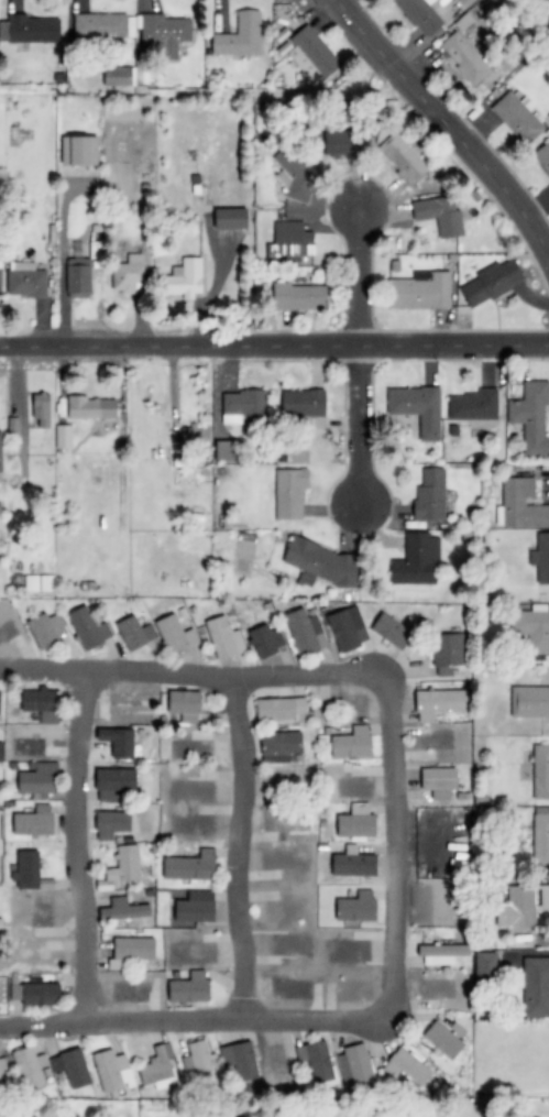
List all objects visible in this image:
road: (539, 10)
building: (420, 15)
building: (30, 29)
building: (132, 30)
building: (240, 35)
building: (316, 51)
building: (463, 57)
building: (127, 75)
building: (515, 117)
road: (444, 124)
building: (348, 142)
building: (80, 151)
building: (403, 158)
building: (296, 172)
building: (440, 215)
building: (232, 219)
building: (290, 242)
building: (128, 274)
building: (187, 277)
building: (78, 278)
building: (25, 281)
building: (494, 282)
building: (420, 291)
building: (297, 296)
road: (274, 347)
road: (359, 359)
building: (306, 405)
building: (472, 405)
building: (243, 407)
building: (91, 408)
building: (417, 408)
building: (43, 410)
building: (530, 416)
building: (188, 434)
building: (63, 436)
building: (224, 450)
building: (0, 452)
building: (290, 493)
building: (430, 495)
building: (521, 504)
building: (541, 558)
building: (416, 560)
building: (322, 562)
building: (532, 627)
building: (88, 628)
building: (348, 628)
building: (47, 629)
building: (392, 631)
building: (304, 632)
building: (135, 633)
building: (174, 634)
building: (224, 638)
building: (266, 640)
building: (447, 654)
building: (0, 701)
building: (530, 702)
building: (440, 703)
building: (41, 704)
building: (187, 705)
building: (279, 709)
building: (119, 742)
building: (352, 743)
building: (281, 745)
building: (541, 771)
building: (440, 778)
building: (36, 779)
building: (113, 784)
building: (35, 821)
building: (358, 823)
building: (112, 824)
building: (540, 836)
road: (78, 847)
road: (238, 847)
road: (395, 851)
building: (124, 864)
building: (354, 865)
building: (191, 867)
building: (28, 869)
building: (543, 898)
building: (195, 907)
building: (356, 907)
building: (518, 908)
building: (124, 909)
building: (131, 951)
building: (441, 954)
building: (486, 965)
building: (532, 987)
building: (189, 988)
building: (443, 1040)
building: (239, 1059)
building: (316, 1062)
building: (355, 1065)
building: (410, 1066)
building: (29, 1067)
building: (72, 1067)
building: (2, 1069)
building: (157, 1069)
building: (111, 1072)

